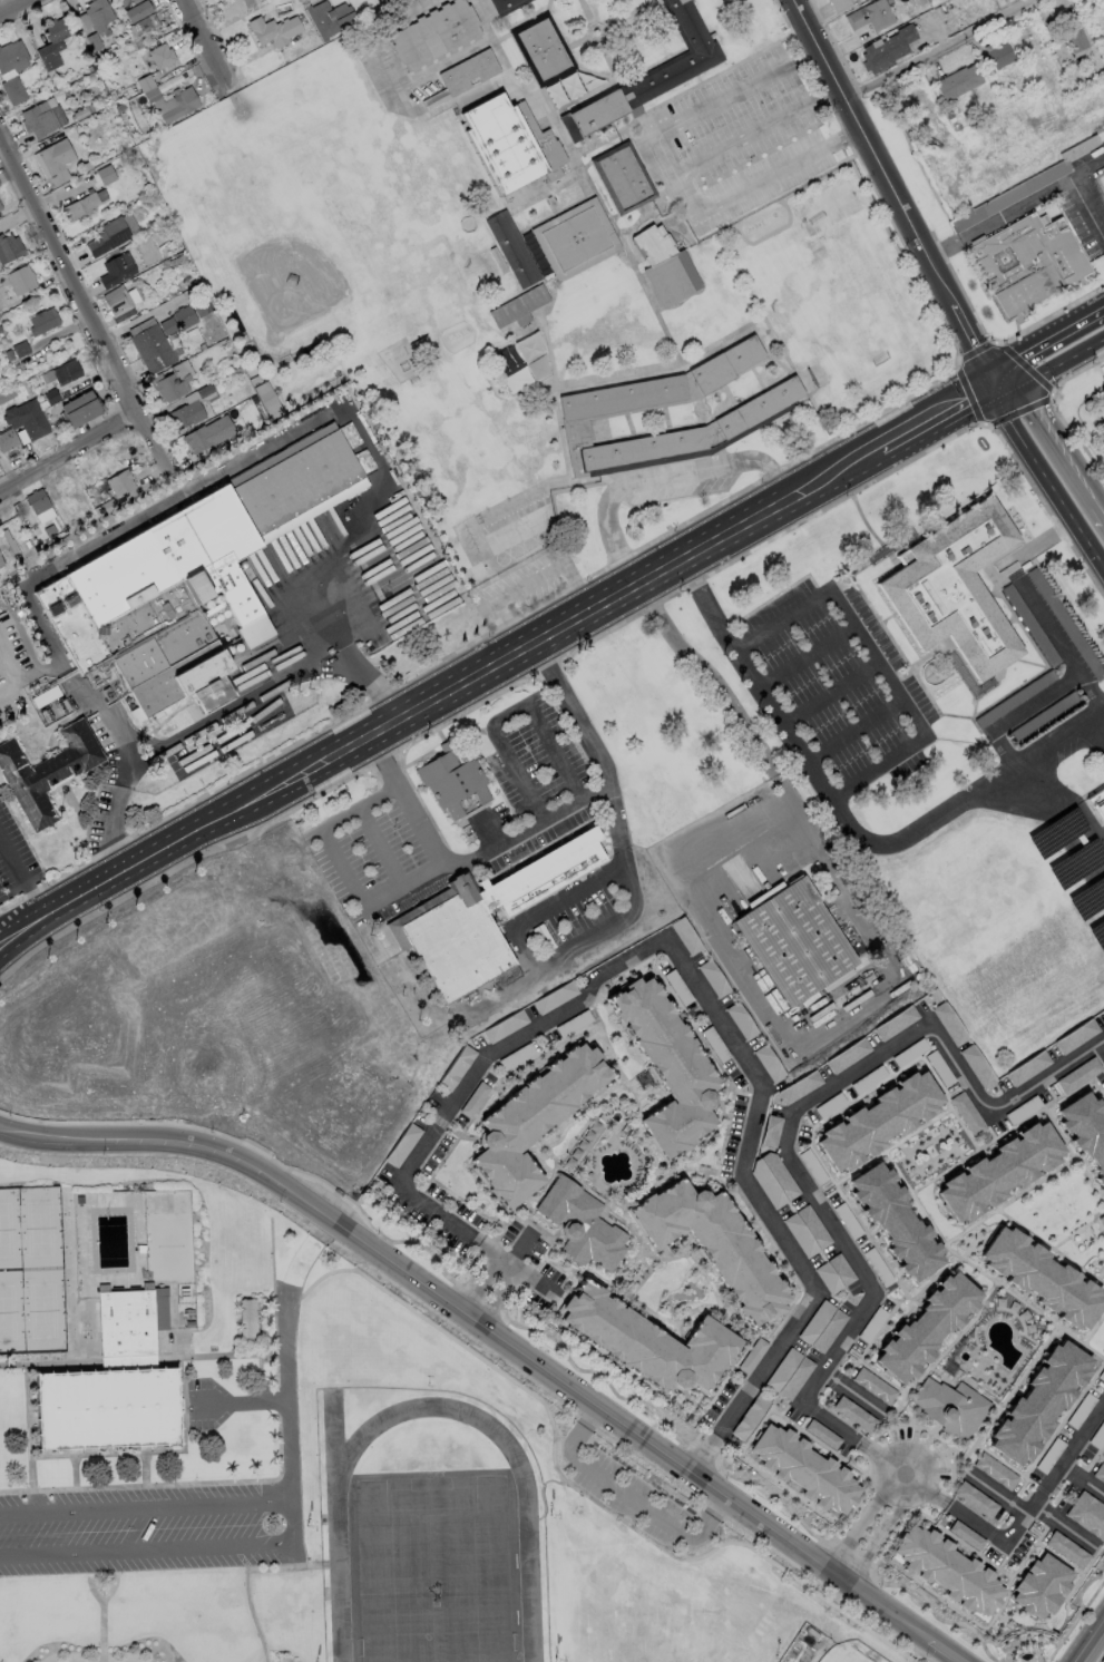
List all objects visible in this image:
building: (825, 0)
building: (838, 4)
building: (506, 6)
road: (13, 7)
building: (134, 9)
building: (97, 14)
building: (868, 14)
building: (328, 19)
building: (144, 25)
building: (273, 31)
building: (436, 36)
building: (1072, 39)
building: (51, 43)
road: (205, 43)
building: (541, 48)
building: (885, 48)
road: (938, 49)
building: (997, 52)
building: (159, 56)
building: (675, 56)
building: (11, 57)
building: (465, 74)
building: (956, 81)
building: (11, 89)
road: (719, 101)
building: (178, 105)
building: (596, 110)
building: (39, 119)
road: (769, 126)
parking lot: (741, 137)
building: (501, 143)
building: (52, 160)
building: (105, 174)
building: (624, 177)
road: (762, 180)
building: (1022, 186)
road: (895, 190)
building: (80, 204)
building: (0, 207)
building: (106, 236)
building: (575, 238)
building: (8, 247)
building: (511, 248)
building: (1028, 264)
building: (662, 265)
building: (115, 268)
building: (18, 278)
park: (290, 291)
road: (80, 296)
building: (116, 303)
building: (518, 305)
building: (40, 321)
road: (1045, 336)
building: (529, 345)
building: (19, 349)
building: (150, 349)
building: (726, 363)
road: (1052, 366)
building: (63, 371)
building: (168, 381)
traffic signals: (996, 383)
building: (622, 398)
building: (266, 400)
building: (1098, 404)
building: (756, 405)
building: (77, 409)
building: (184, 414)
road: (938, 414)
building: (25, 419)
building: (206, 433)
road: (1058, 436)
building: (7, 439)
building: (626, 447)
road: (67, 452)
building: (104, 465)
road: (219, 475)
road: (660, 476)
road: (1044, 478)
building: (118, 482)
parking lot: (682, 488)
building: (35, 500)
building: (68, 504)
building: (105, 507)
building: (49, 530)
building: (9, 542)
building: (27, 544)
building: (891, 546)
road: (1037, 546)
building: (1, 563)
road: (664, 568)
building: (192, 583)
parking lot: (520, 585)
road: (527, 588)
building: (955, 589)
parking lot: (399, 613)
building: (1065, 623)
building: (1029, 625)
parking lot: (1048, 628)
road: (804, 657)
road: (877, 661)
road: (43, 674)
building: (967, 674)
road: (1061, 684)
road: (1091, 687)
parking lot: (833, 690)
road: (828, 694)
building: (1014, 698)
road: (426, 704)
road: (224, 712)
building: (1043, 715)
road: (509, 717)
road: (385, 726)
road: (853, 731)
road: (750, 733)
road: (346, 749)
building: (47, 771)
parking lot: (535, 780)
building: (456, 782)
parking lot: (104, 785)
building: (1097, 804)
road: (1066, 817)
road: (612, 818)
road: (846, 818)
road: (530, 827)
road: (486, 831)
road: (192, 832)
road: (381, 845)
parking lot: (373, 858)
parking lot: (16, 859)
road: (74, 867)
road: (343, 869)
road: (19, 874)
road: (29, 917)
building: (481, 918)
road: (2, 923)
road: (31, 932)
building: (686, 936)
building: (794, 944)
road: (664, 947)
road: (541, 960)
building: (506, 976)
building: (713, 979)
building: (556, 998)
building: (1103, 1008)
building: (1102, 1011)
building: (741, 1023)
building: (897, 1023)
building: (950, 1025)
building: (506, 1026)
building: (1077, 1036)
road: (594, 1037)
road: (1102, 1044)
road: (610, 1052)
road: (604, 1053)
building: (849, 1055)
building: (768, 1064)
building: (456, 1067)
building: (668, 1067)
building: (979, 1067)
building: (1027, 1069)
parking lot: (882, 1072)
building: (1076, 1077)
building: (864, 1081)
parking lot: (1102, 1083)
building: (800, 1088)
building: (475, 1099)
parking lot: (1027, 1106)
building: (967, 1114)
road: (587, 1117)
building: (535, 1121)
building: (878, 1121)
road: (789, 1131)
building: (1087, 1131)
building: (772, 1132)
road: (458, 1133)
park: (619, 1134)
road: (905, 1138)
building: (402, 1145)
road: (528, 1150)
road: (648, 1152)
road: (543, 1157)
building: (1000, 1175)
road: (402, 1176)
building: (773, 1180)
road: (704, 1182)
road: (544, 1185)
road: (529, 1201)
road: (534, 1205)
road: (527, 1219)
building: (892, 1220)
building: (1102, 1220)
building: (580, 1226)
park: (40, 1228)
park: (6, 1229)
road: (638, 1231)
building: (807, 1231)
road: (1026, 1231)
road: (1077, 1233)
road: (778, 1236)
road: (520, 1243)
parking lot: (853, 1243)
park: (167, 1245)
building: (716, 1248)
road: (626, 1259)
road: (663, 1260)
road: (628, 1263)
road: (507, 1265)
road: (889, 1269)
road: (564, 1272)
building: (834, 1273)
building: (1044, 1273)
road: (1101, 1273)
road: (642, 1274)
park: (666, 1287)
road: (713, 1289)
road: (695, 1308)
park: (43, 1310)
park: (7, 1311)
road: (726, 1322)
road: (781, 1323)
building: (248, 1324)
building: (925, 1324)
building: (821, 1327)
road: (531, 1328)
road: (1094, 1329)
road: (499, 1339)
building: (653, 1342)
road: (1081, 1342)
road: (863, 1352)
building: (753, 1356)
road: (222, 1357)
road: (128, 1360)
road: (49, 1363)
road: (1029, 1365)
building: (789, 1375)
building: (115, 1385)
building: (875, 1386)
road: (853, 1392)
road: (688, 1399)
building: (1039, 1400)
road: (734, 1407)
building: (947, 1409)
building: (854, 1414)
building: (750, 1416)
road: (180, 1425)
parking lot: (1068, 1427)
road: (29, 1433)
road: (287, 1433)
building: (823, 1434)
track: (333, 1441)
parking lot: (1093, 1445)
road: (551, 1446)
parking lot: (919, 1453)
road: (108, 1455)
road: (914, 1457)
road: (1100, 1458)
road: (751, 1460)
road: (1092, 1461)
road: (852, 1465)
building: (810, 1466)
road: (897, 1468)
building: (996, 1470)
building: (1100, 1473)
road: (909, 1477)
road: (1083, 1479)
road: (145, 1482)
road: (75, 1485)
road: (31, 1486)
road: (995, 1492)
road: (541, 1494)
road: (629, 1495)
parking lot: (629, 1496)
building: (976, 1499)
building: (1088, 1514)
road: (1022, 1515)
road: (858, 1516)
road: (266, 1526)
road: (1063, 1526)
parking lot: (154, 1531)
road: (882, 1533)
building: (966, 1535)
track: (432, 1544)
parking lot: (1015, 1545)
park: (432, 1547)
building: (1068, 1548)
road: (1027, 1552)
road: (990, 1564)
road: (1072, 1566)
building: (950, 1571)
road: (114, 1577)
road: (88, 1578)
building: (1041, 1586)
road: (248, 1605)
road: (101, 1632)
road: (1090, 1641)
park: (843, 1656)
fountain: (1027, 1661)

